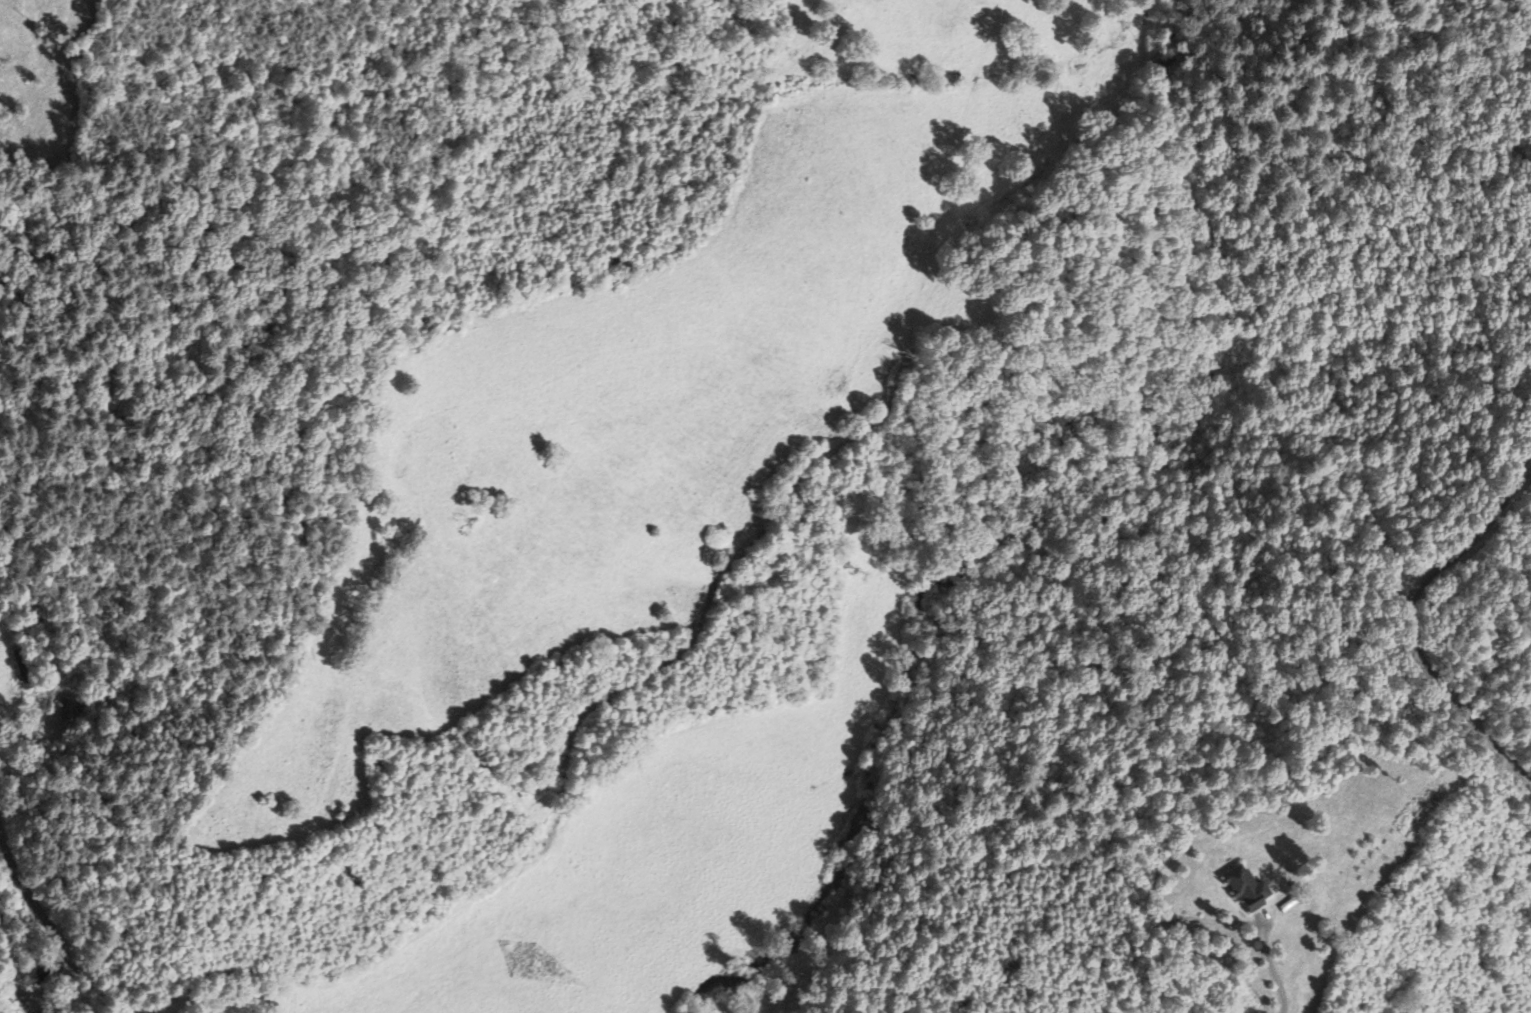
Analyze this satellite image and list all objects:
road: (1411, 614)
building: (1247, 891)
road: (48, 924)
road: (1272, 971)
road: (35, 1009)

